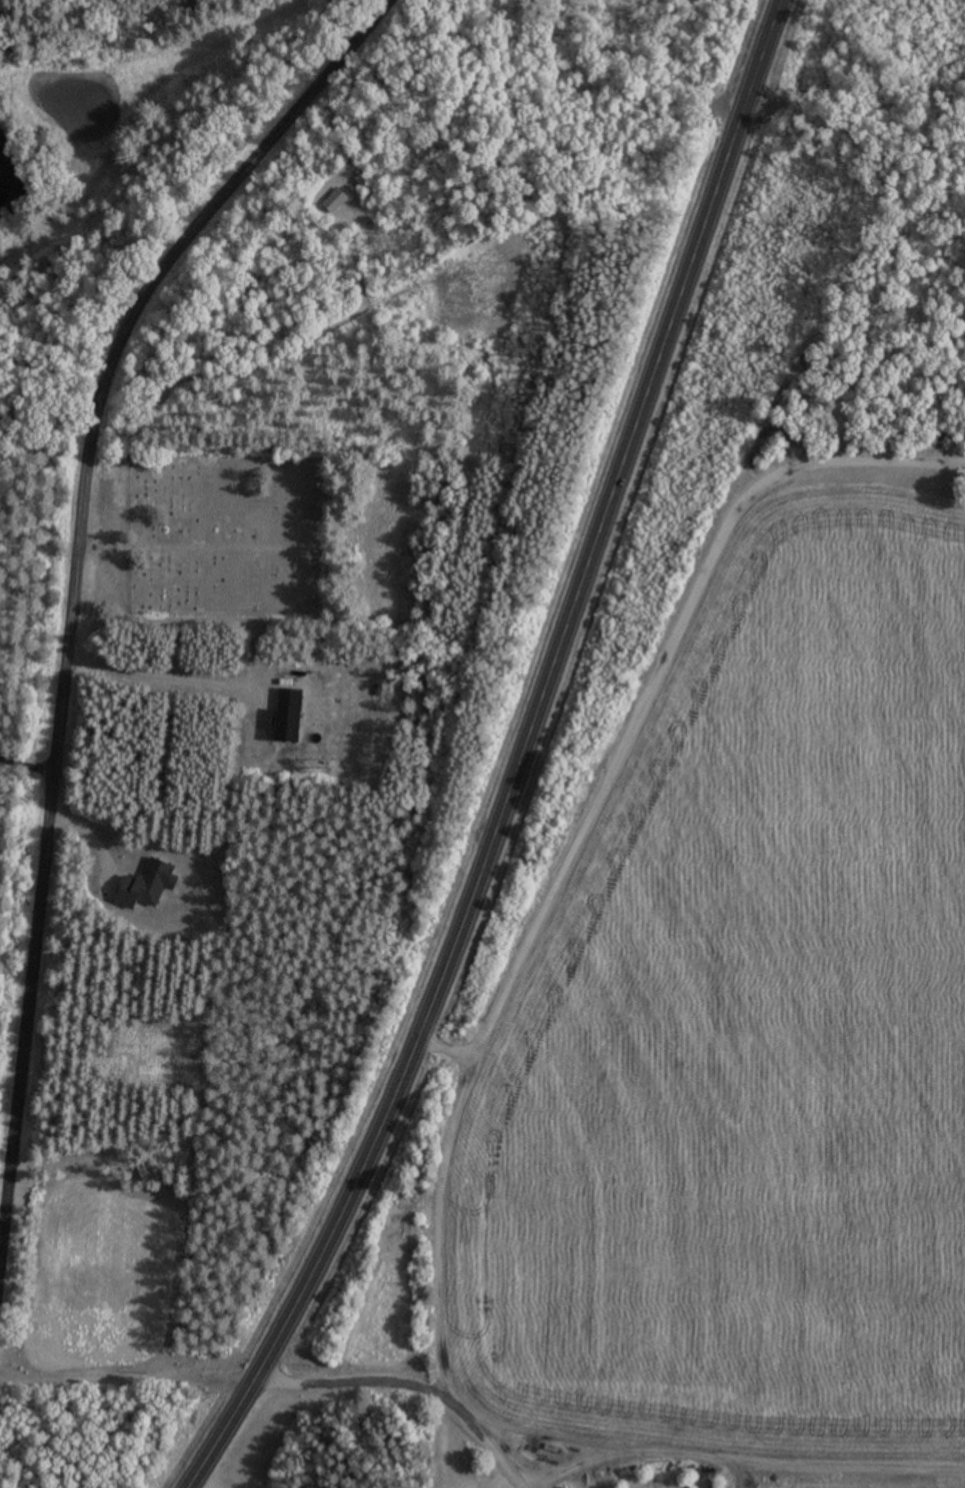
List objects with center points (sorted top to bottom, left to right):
building: (341, 201)
road: (68, 595)
road: (653, 672)
road: (518, 758)
road: (439, 1206)
road: (419, 1390)
road: (133, 1407)

